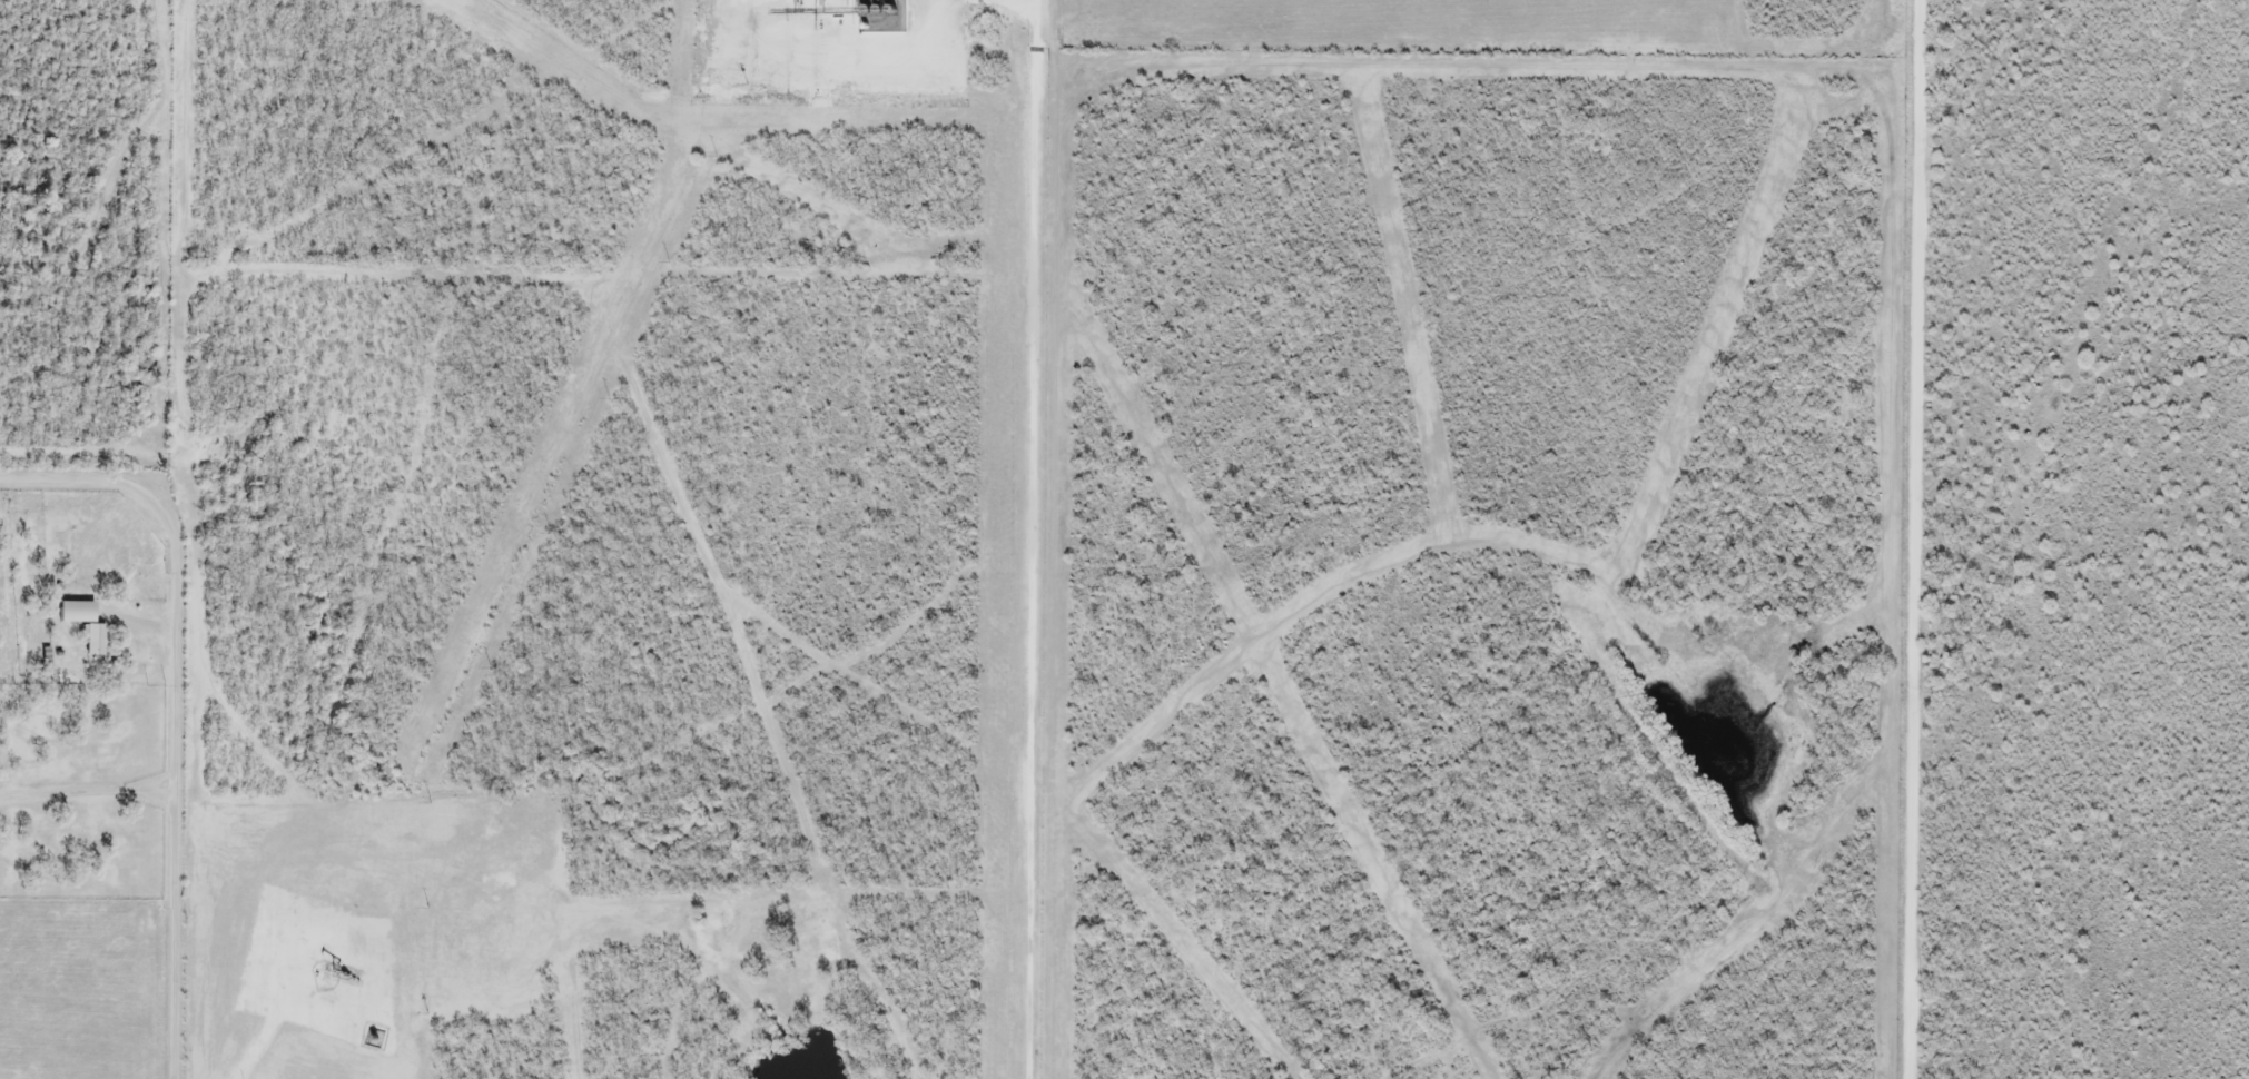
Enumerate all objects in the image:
road: (1022, 539)
road: (1907, 539)
building: (70, 617)
building: (96, 642)
road: (178, 706)
road: (88, 794)
road: (272, 1035)

